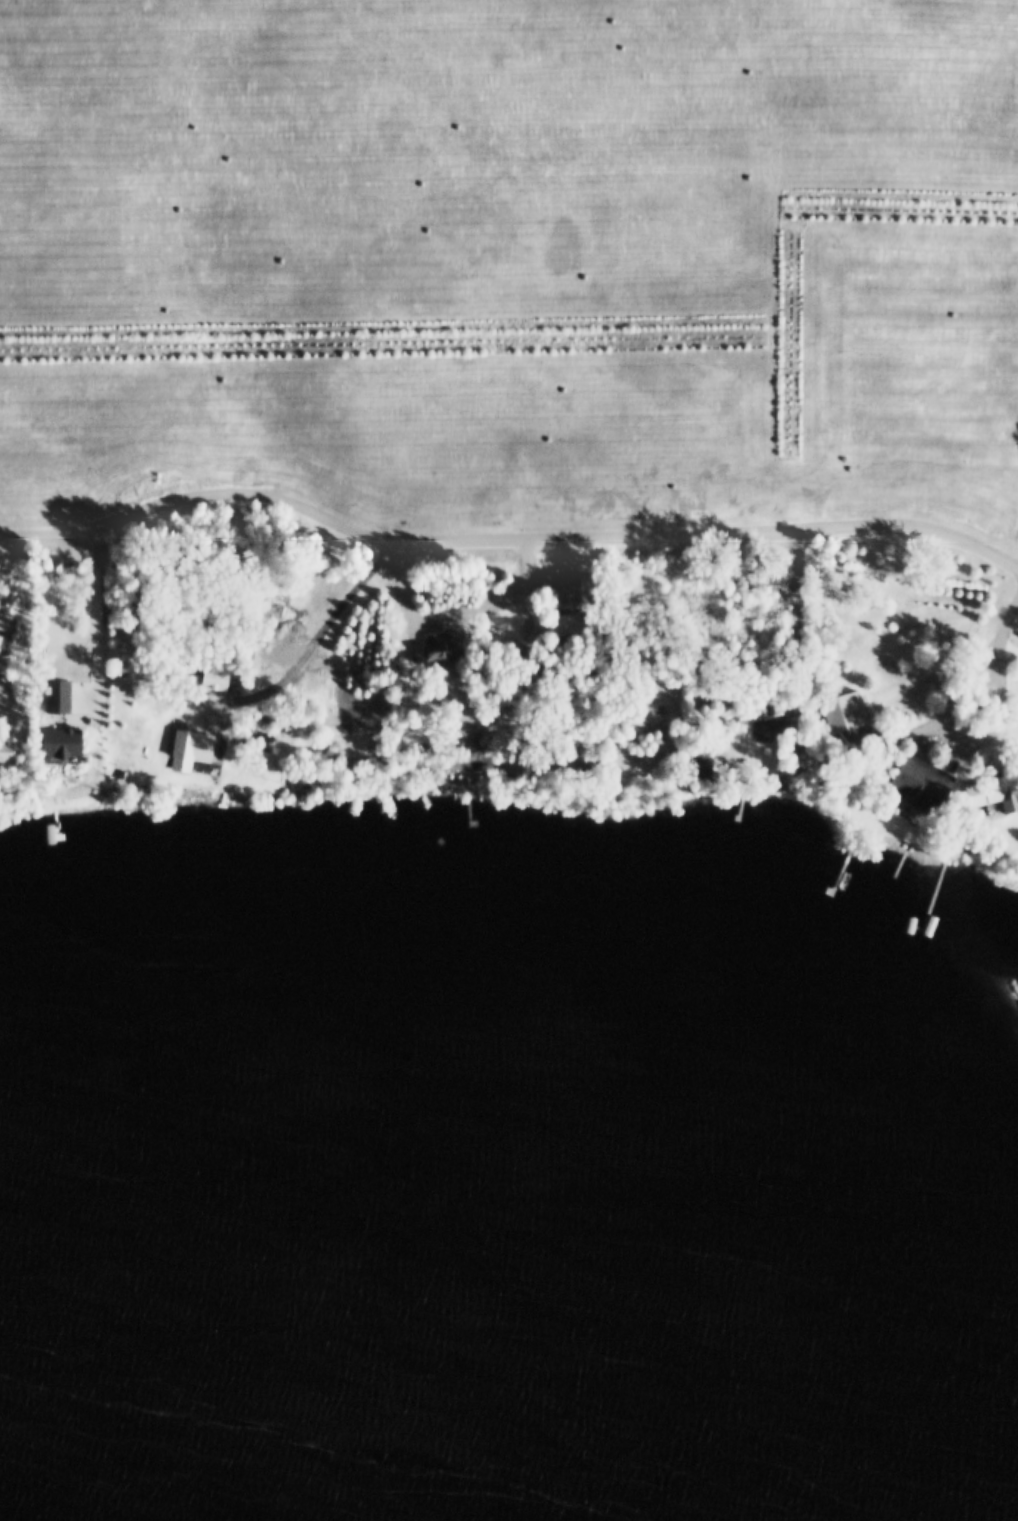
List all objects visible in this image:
road: (505, 542)
building: (551, 585)
building: (261, 612)
building: (277, 618)
building: (553, 621)
road: (1006, 623)
road: (326, 626)
road: (94, 628)
building: (427, 646)
building: (207, 674)
building: (839, 708)
building: (765, 726)
road: (971, 736)
building: (48, 740)
building: (182, 743)
building: (0, 749)
building: (692, 763)
building: (916, 779)
building: (991, 787)

